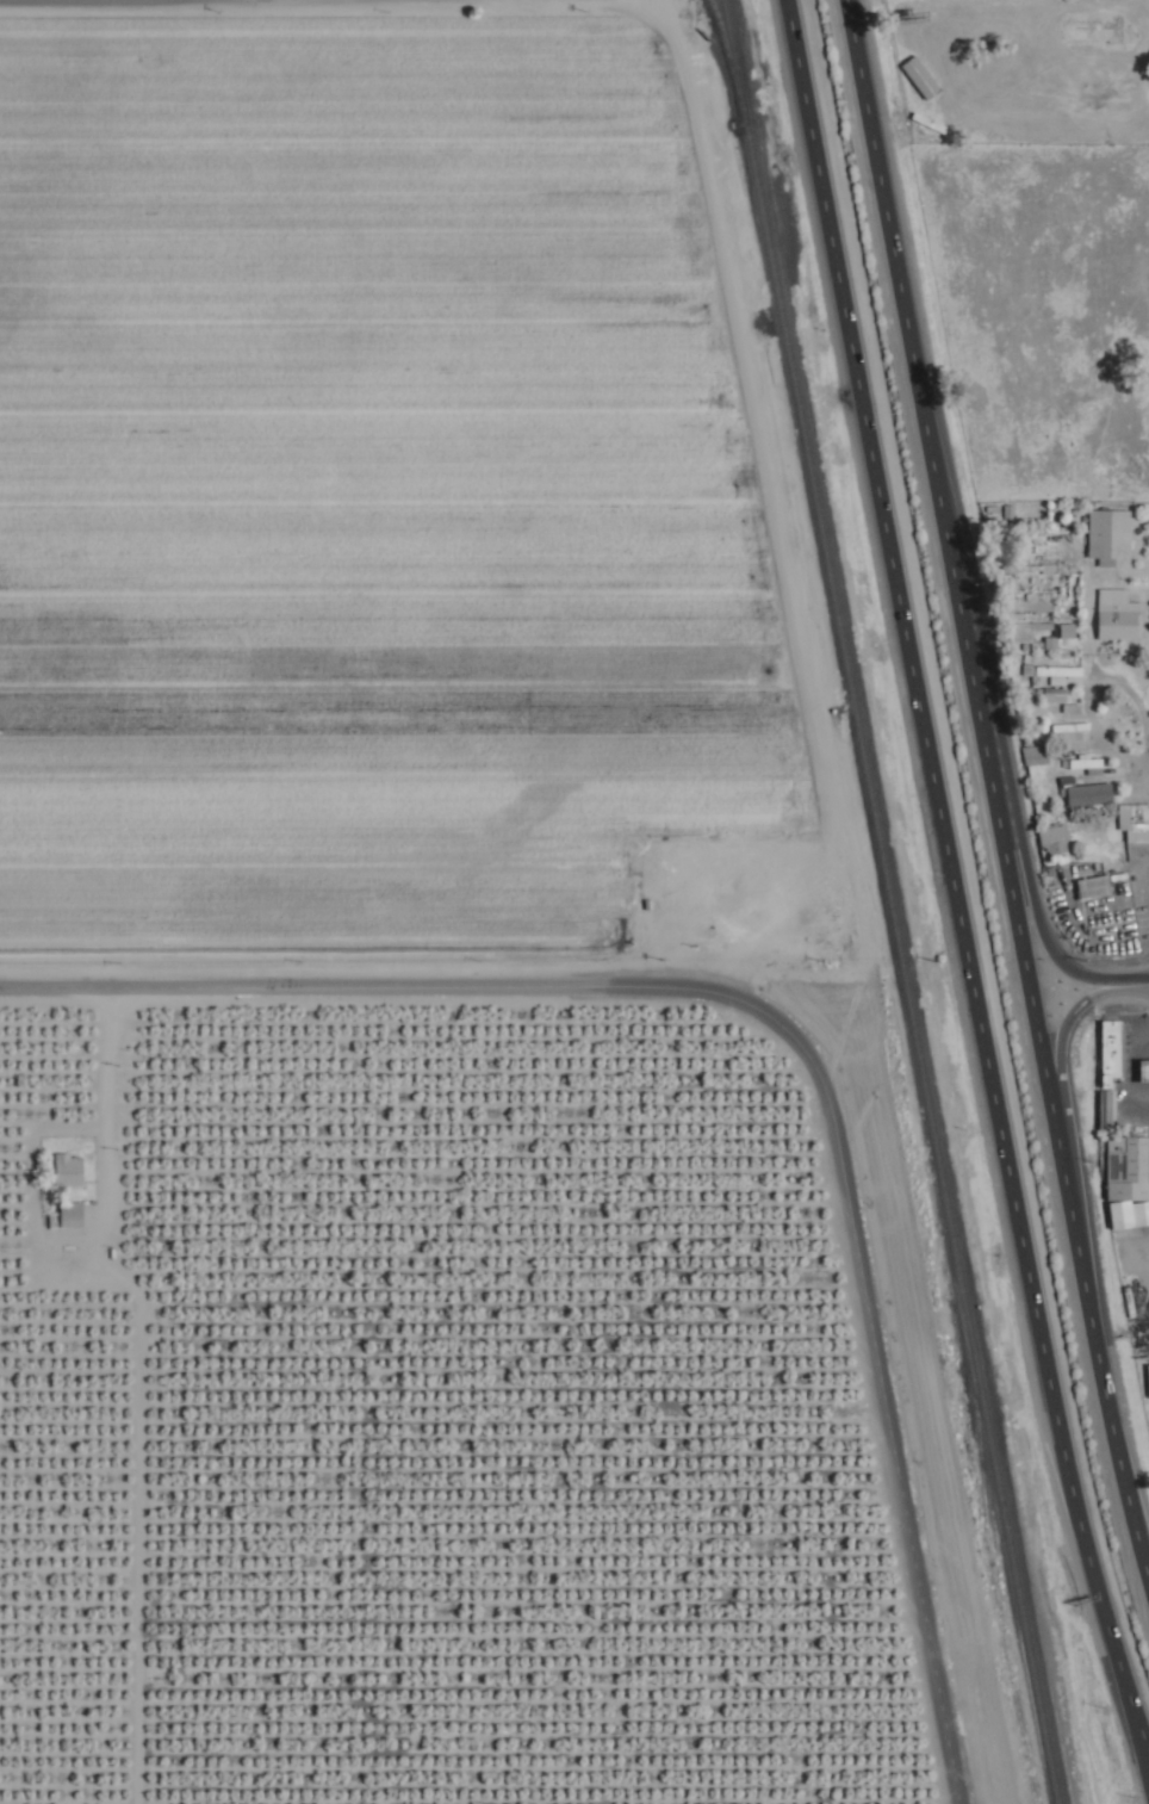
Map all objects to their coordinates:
road: (652, 6)
building: (1098, 32)
railway: (733, 39)
building: (938, 87)
building: (1024, 123)
road: (909, 303)
road: (890, 509)
building: (1116, 538)
road: (790, 545)
building: (1055, 605)
building: (1122, 615)
building: (1070, 636)
building: (1057, 671)
building: (1064, 699)
building: (1077, 731)
building: (1039, 754)
building: (1088, 763)
building: (1092, 795)
road: (1001, 801)
building: (1136, 823)
road: (1021, 829)
building: (1058, 839)
building: (1095, 887)
railway: (898, 901)
road: (431, 990)
building: (1114, 1049)
building: (1144, 1071)
building: (1108, 1109)
road: (1072, 1112)
building: (1129, 1167)
building: (67, 1170)
building: (72, 1215)
road: (1091, 1287)
road: (1049, 1369)
road: (894, 1442)
railway: (999, 1564)
road: (1142, 1731)
road: (1142, 1747)

